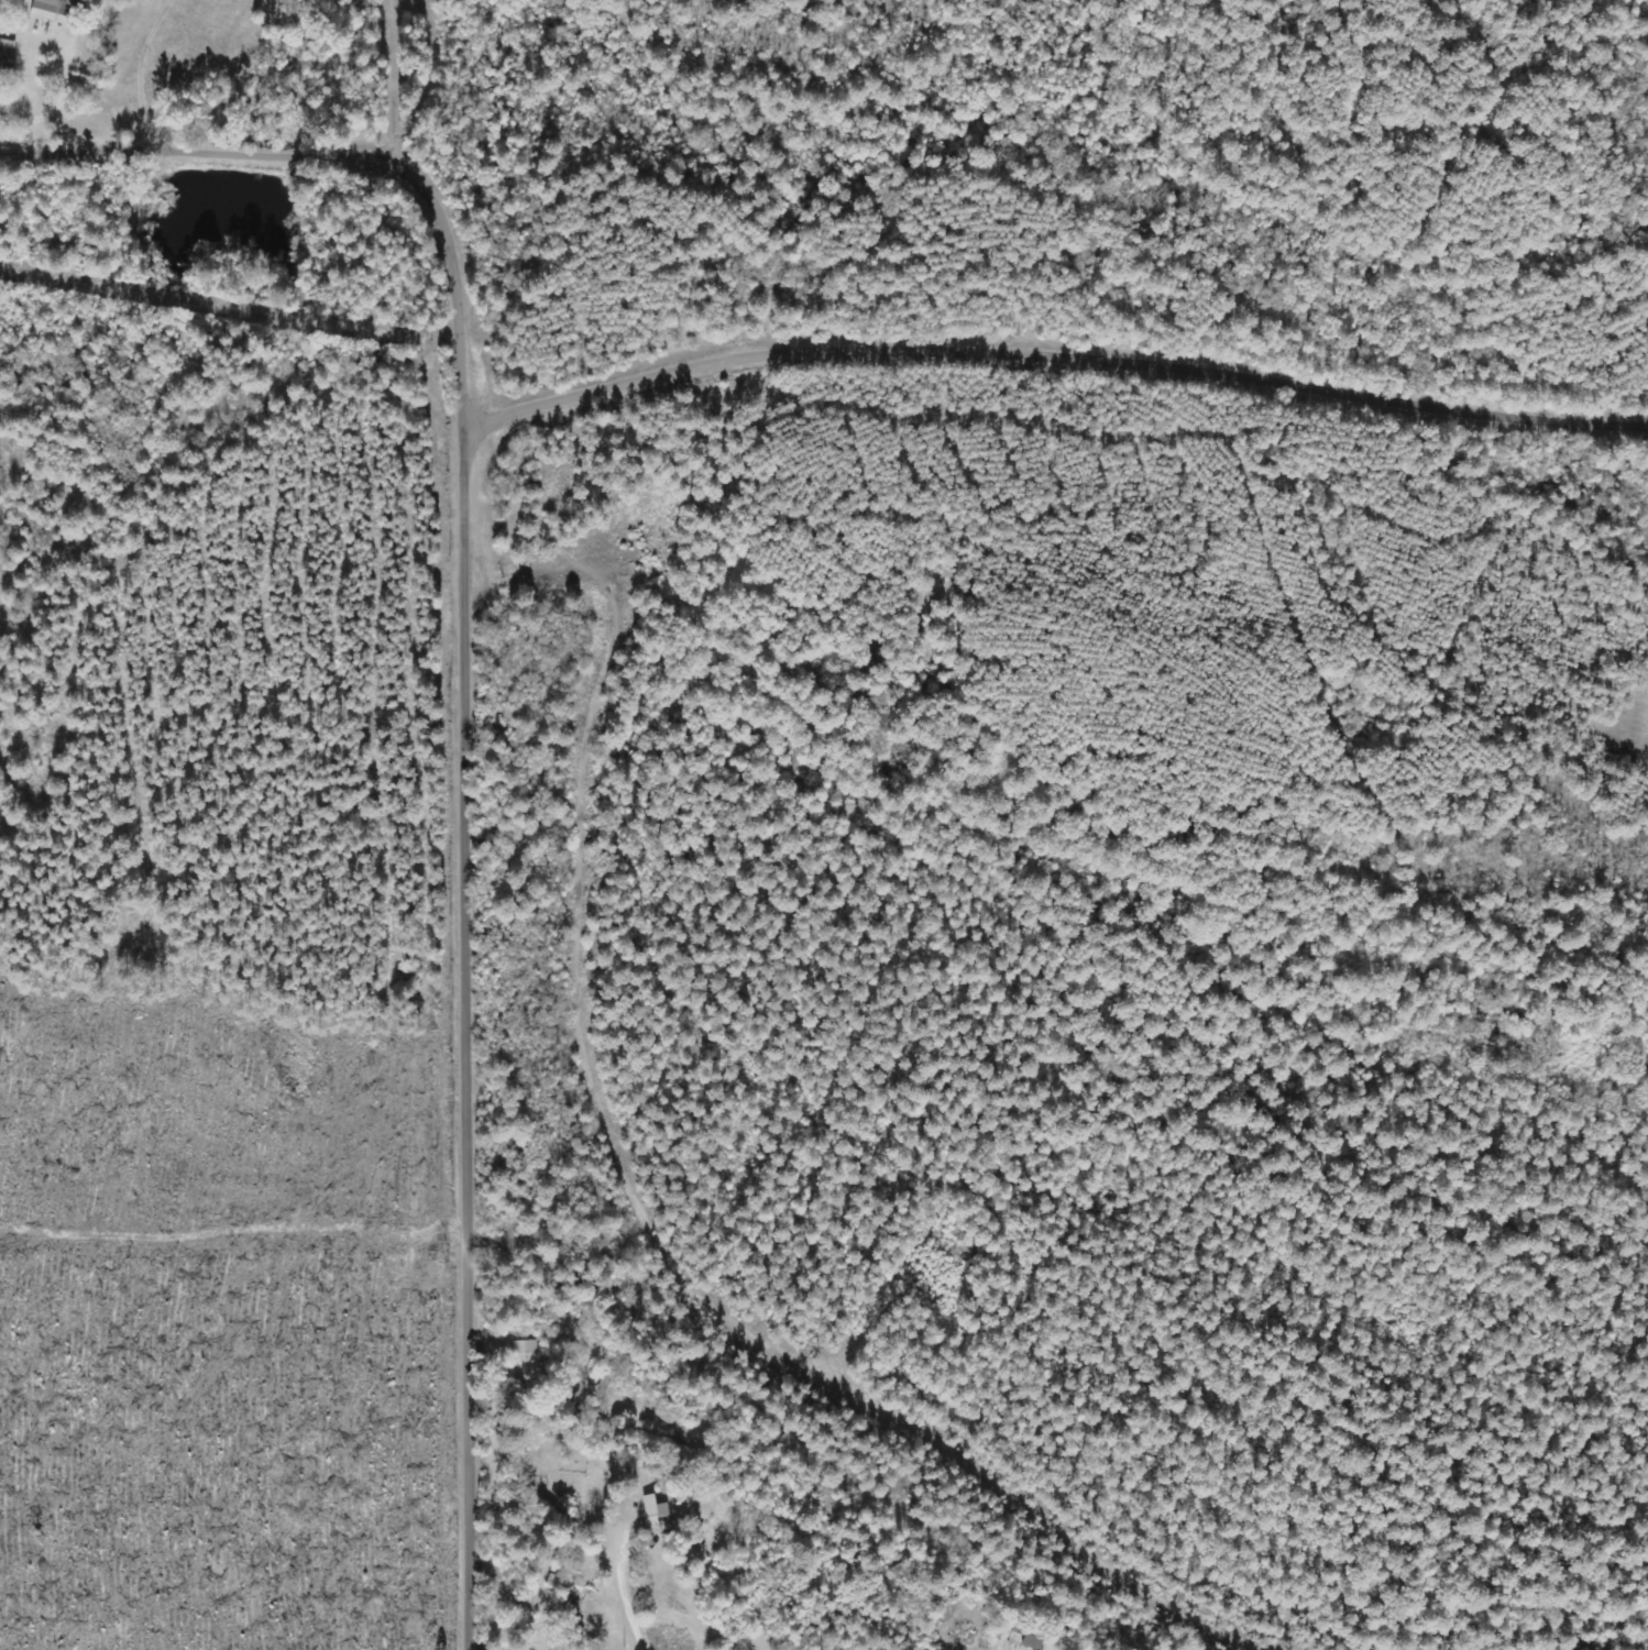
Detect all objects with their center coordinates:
building: (52, 10)
building: (7, 55)
road: (727, 364)
road: (475, 1023)
building: (526, 1362)
building: (657, 1511)
building: (1028, 1629)

